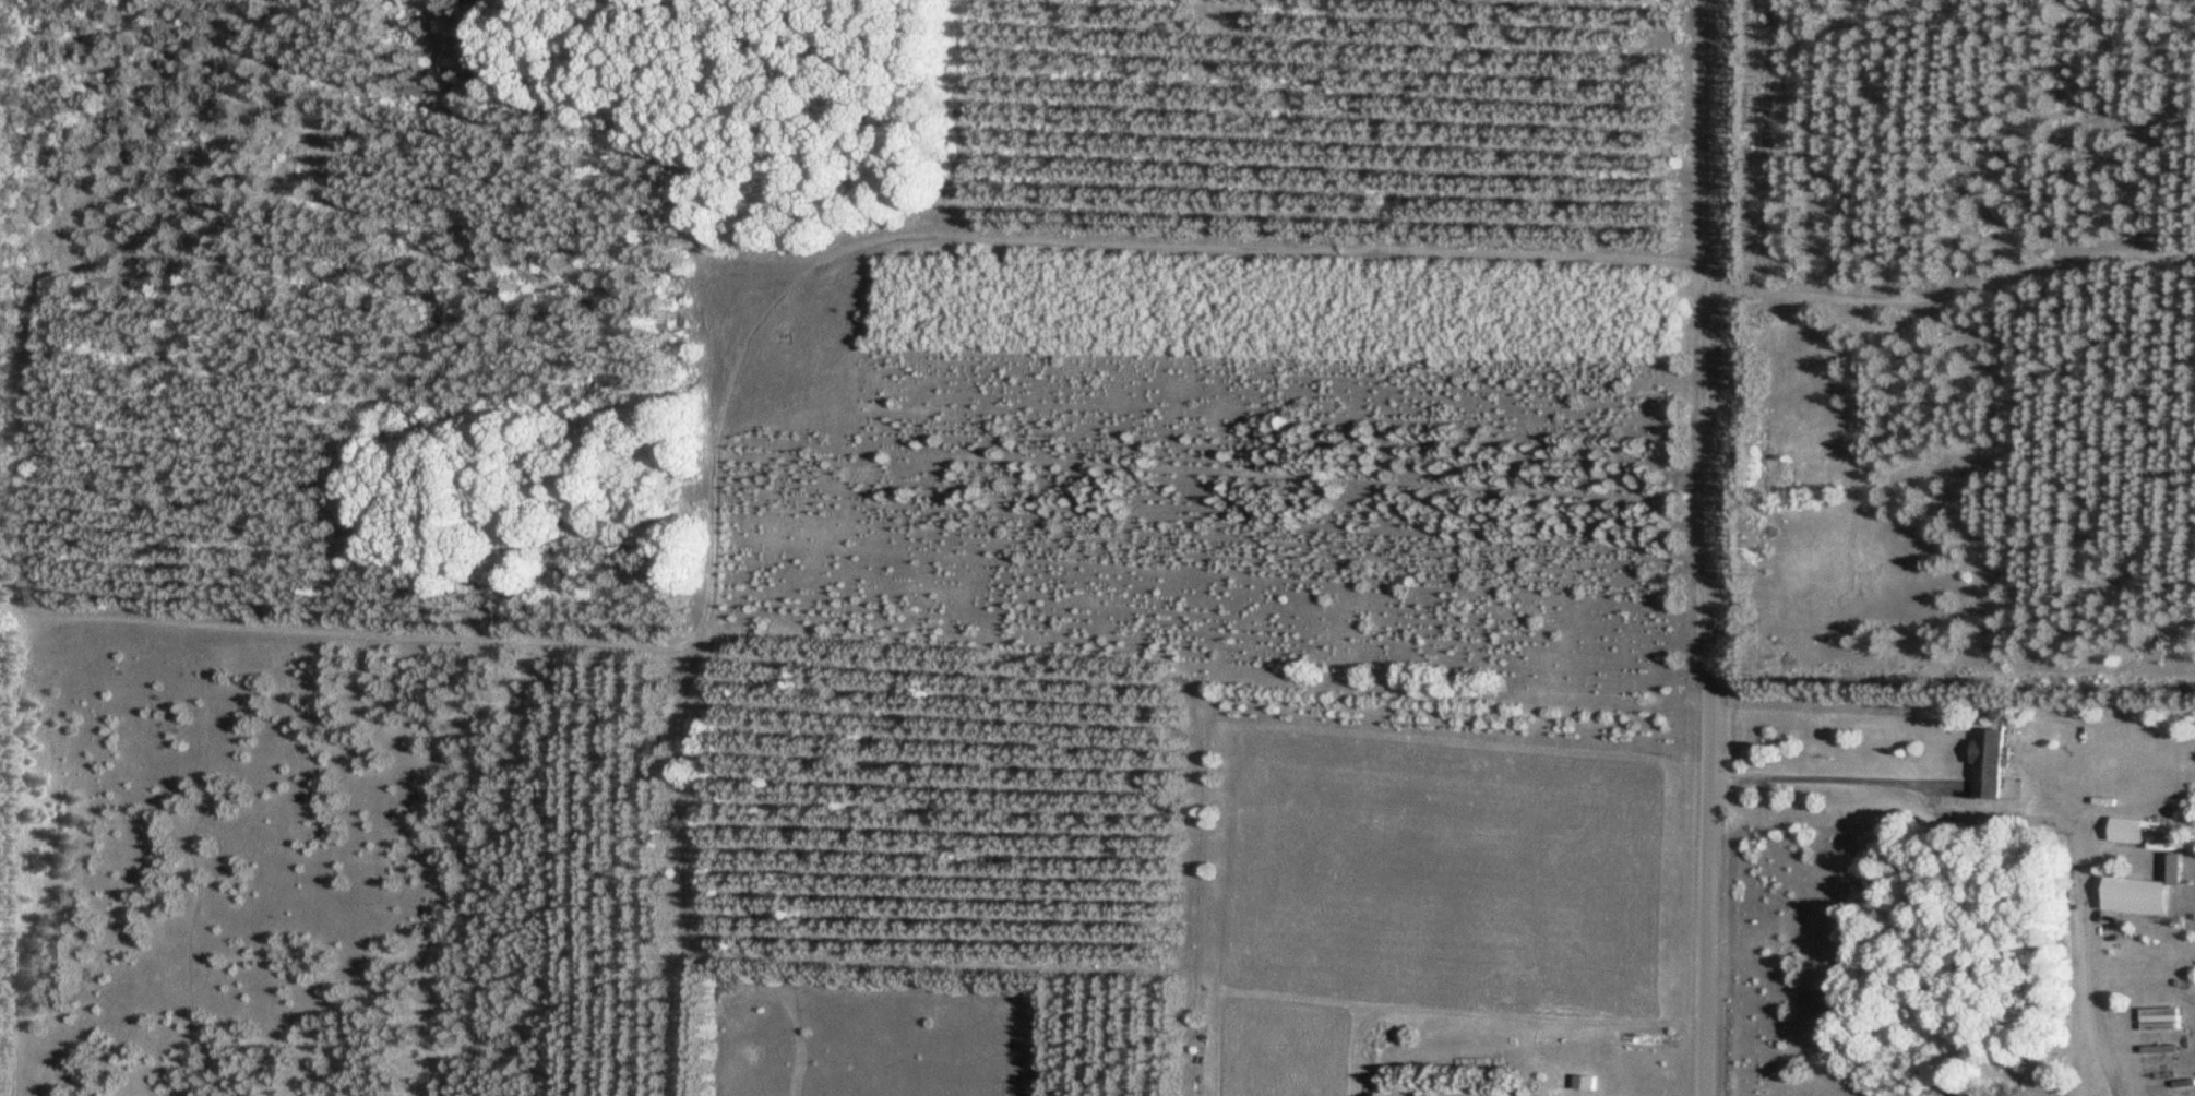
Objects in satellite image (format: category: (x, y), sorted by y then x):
road: (1711, 548)
building: (1983, 764)
road: (1837, 781)
road: (2024, 820)
road: (2, 827)
building: (2127, 830)
building: (2132, 896)
road: (2085, 980)
building: (2157, 1020)
road: (2084, 1059)
building: (1583, 1080)
road: (0, 1082)

